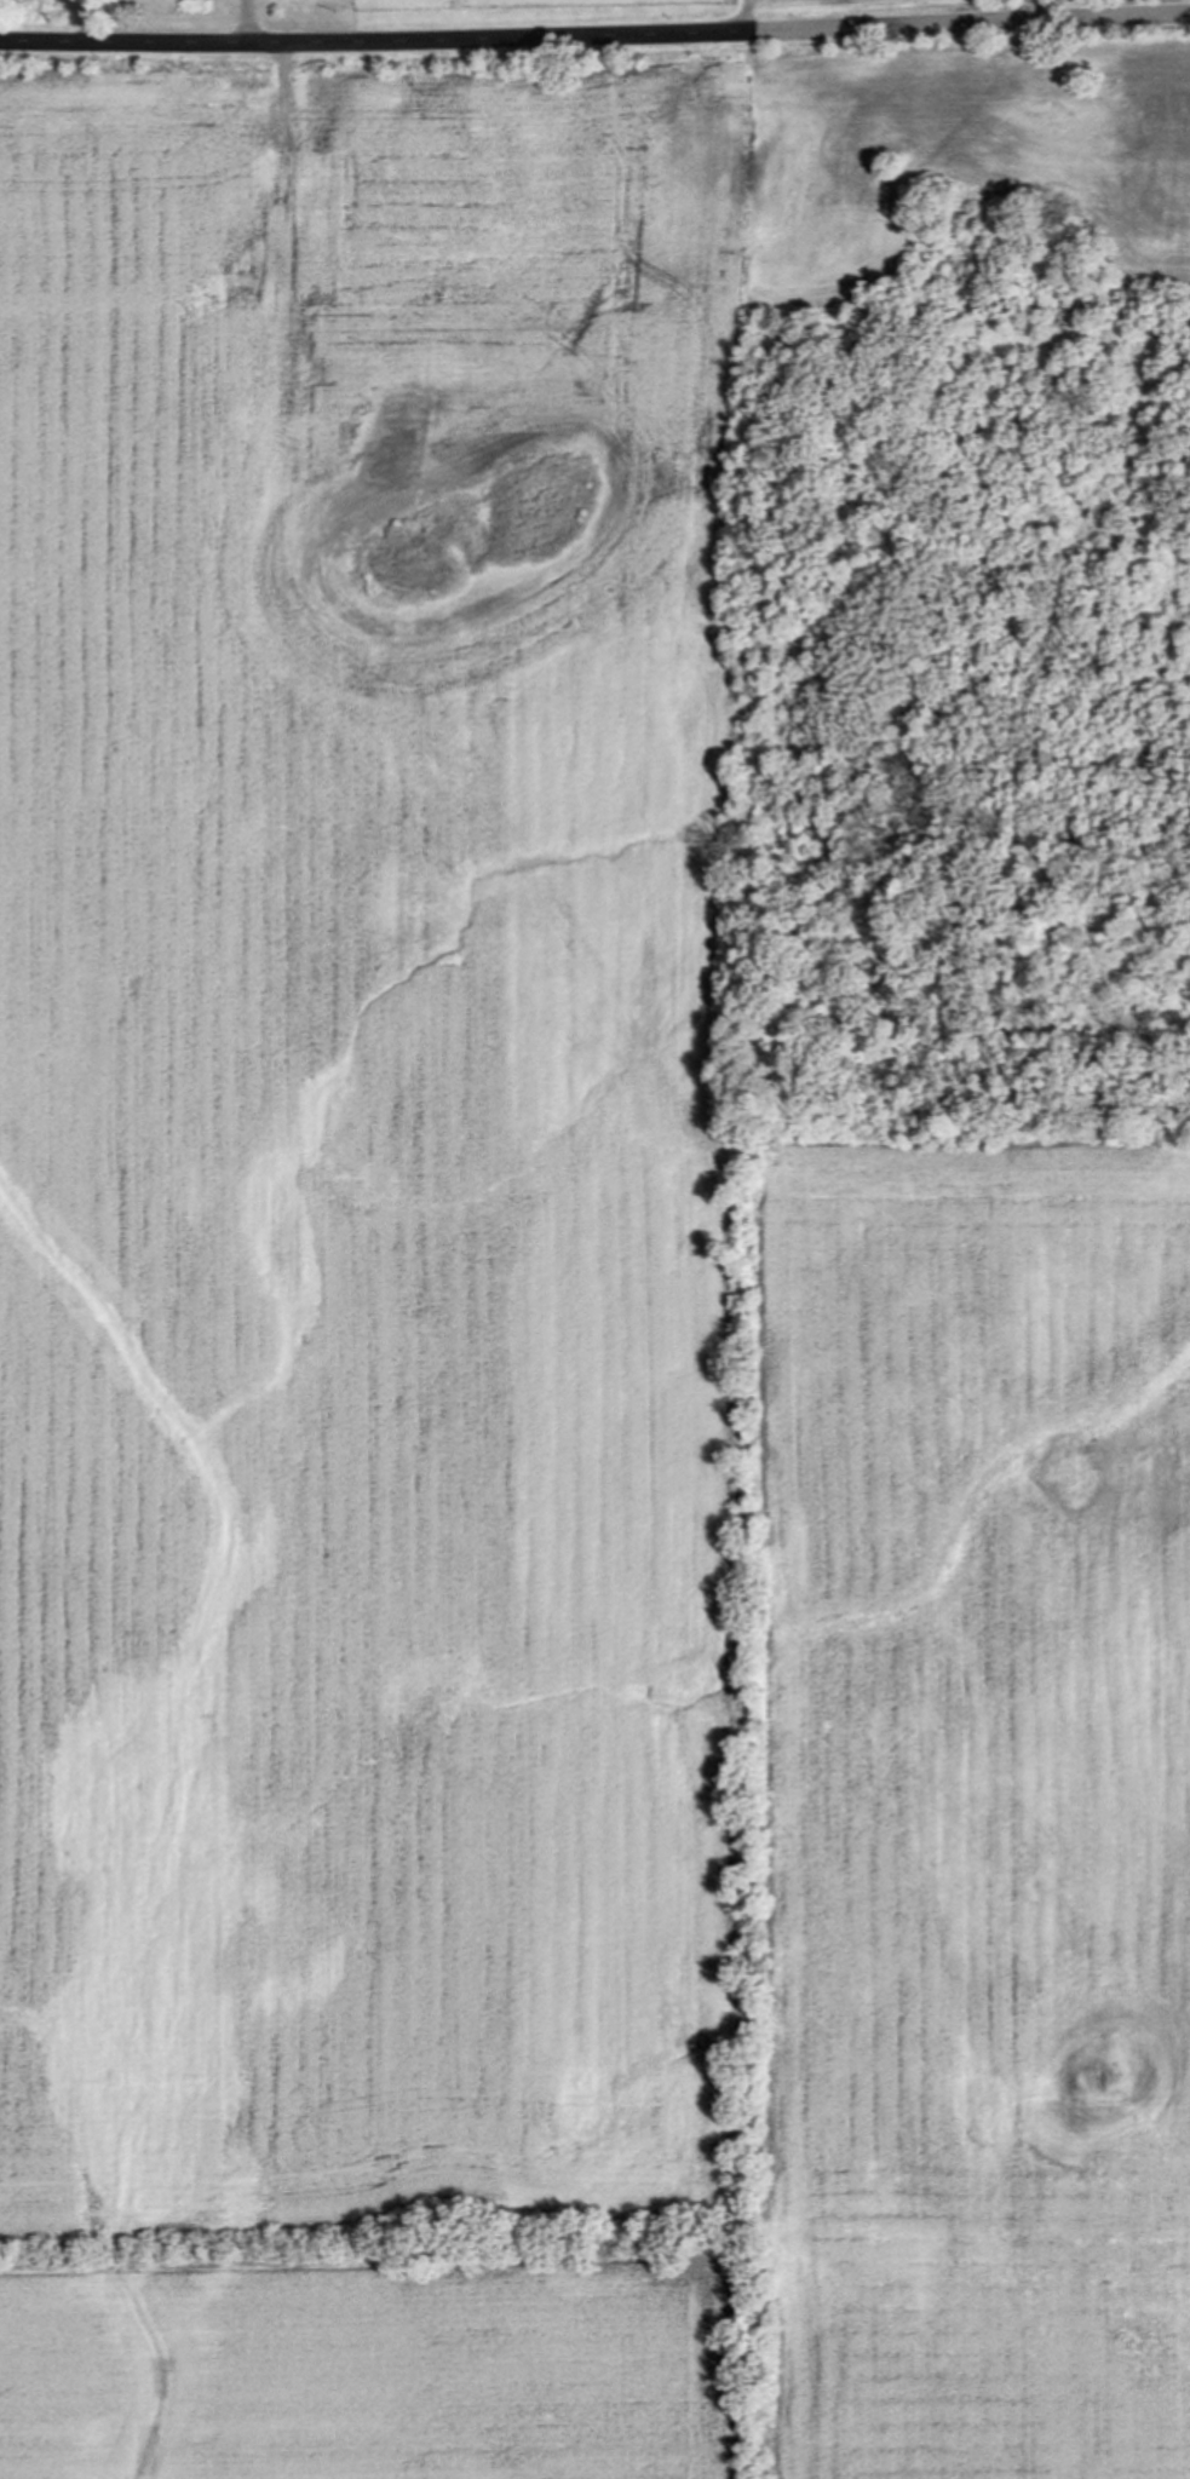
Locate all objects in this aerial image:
road: (91, 24)
road: (245, 24)
road: (594, 39)

